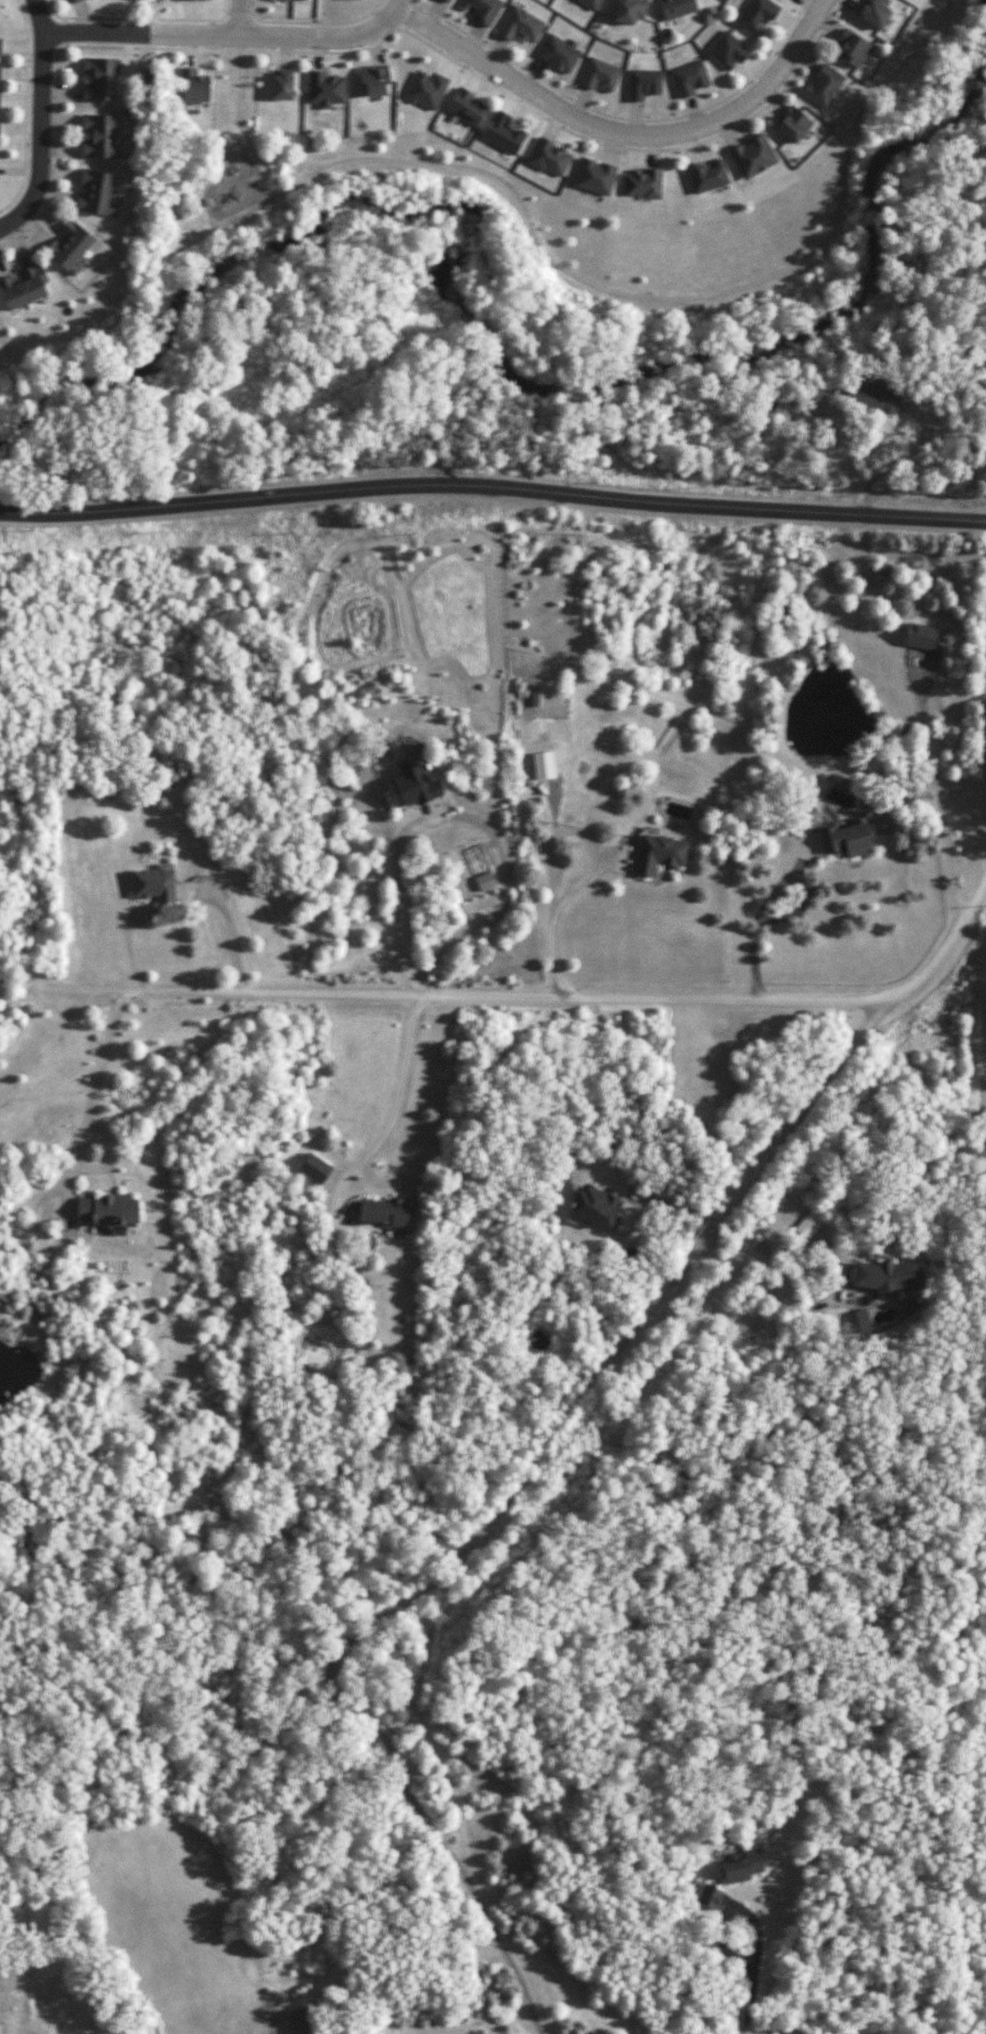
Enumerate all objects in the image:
building: (192, 0)
building: (288, 0)
building: (74, 1)
building: (447, 1)
building: (591, 3)
building: (676, 8)
building: (483, 10)
building: (629, 11)
building: (873, 12)
road: (39, 16)
building: (757, 16)
road: (241, 19)
building: (521, 25)
road: (229, 38)
building: (0, 46)
building: (853, 49)
building: (727, 51)
building: (558, 54)
building: (0, 69)
building: (600, 75)
building: (99, 79)
building: (690, 79)
building: (375, 80)
building: (644, 84)
building: (281, 85)
building: (823, 85)
building: (193, 89)
building: (325, 89)
building: (426, 90)
building: (466, 107)
road: (237, 121)
building: (793, 125)
building: (502, 133)
building: (98, 136)
road: (623, 137)
road: (40, 138)
building: (753, 156)
building: (549, 158)
road: (207, 176)
building: (707, 176)
building: (595, 177)
building: (644, 184)
building: (94, 192)
road: (247, 211)
building: (69, 247)
park: (484, 255)
building: (23, 287)
road: (664, 298)
building: (872, 397)
road: (492, 489)
building: (920, 637)
building: (543, 765)
road: (939, 785)
building: (412, 788)
road: (460, 817)
building: (847, 839)
road: (549, 847)
building: (659, 854)
building: (485, 881)
building: (154, 883)
road: (759, 911)
road: (19, 984)
road: (539, 996)
road: (985, 1057)
road: (387, 1125)
road: (81, 1126)
building: (314, 1168)
building: (594, 1206)
building: (107, 1211)
building: (386, 1214)
building: (809, 1223)
building: (887, 1276)
road: (828, 1301)
building: (858, 1318)
road: (499, 1516)
building: (740, 1865)
building: (709, 1896)
road: (754, 1994)

